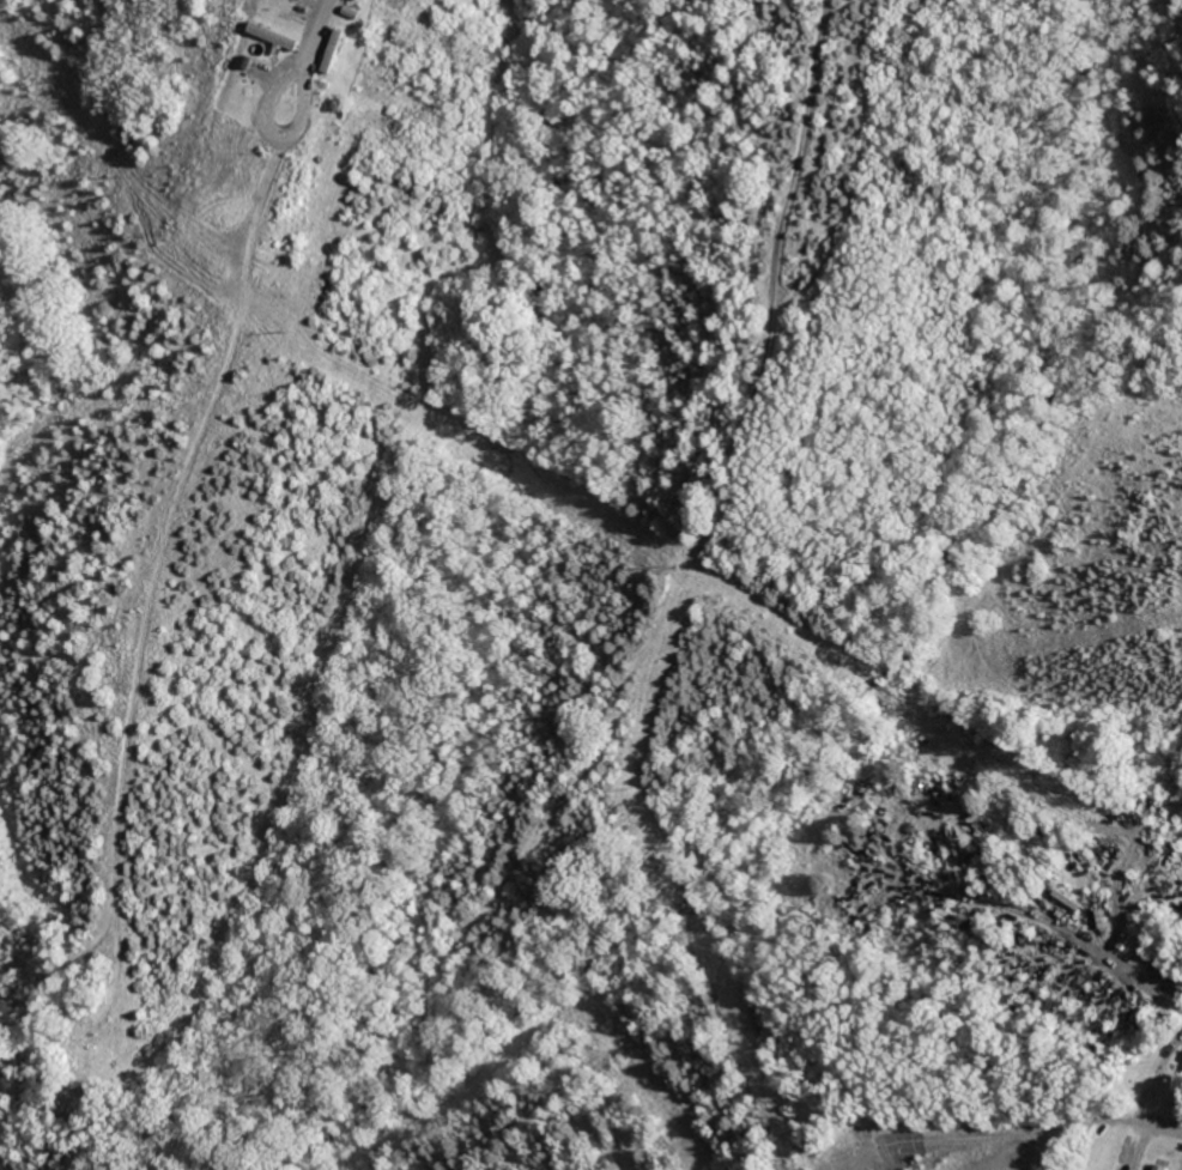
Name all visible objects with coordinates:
building: (365, 0)
building: (314, 1)
building: (356, 5)
building: (279, 36)
road: (322, 37)
building: (271, 40)
building: (332, 62)
road: (788, 65)
road: (269, 126)

